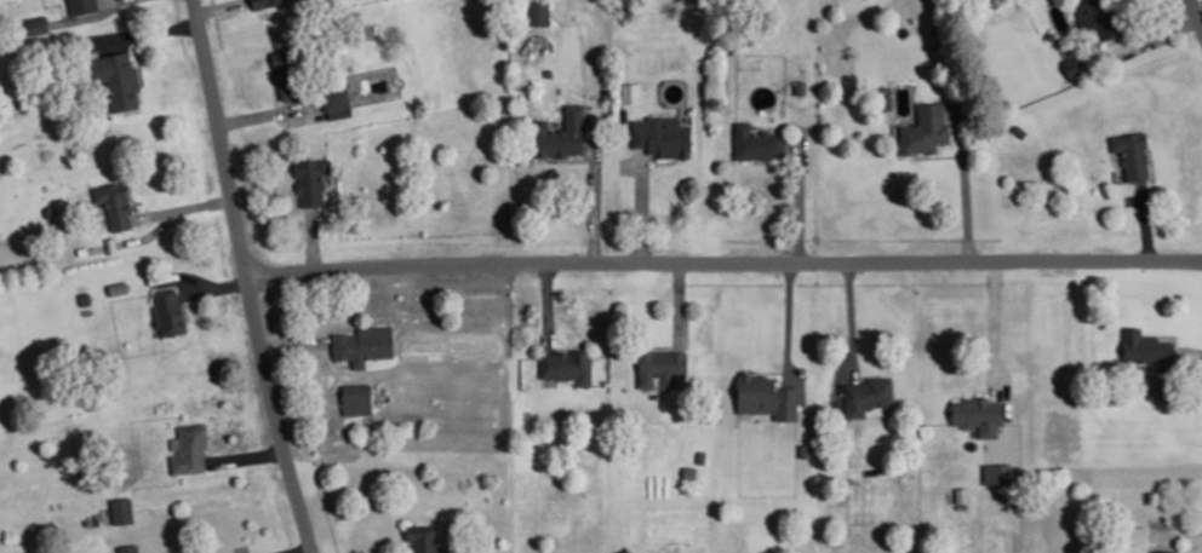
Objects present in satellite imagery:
building: (265, 2)
building: (84, 6)
road: (1197, 10)
building: (539, 13)
building: (1094, 17)
building: (38, 24)
building: (118, 80)
building: (631, 92)
building: (337, 100)
building: (926, 129)
building: (561, 133)
building: (662, 136)
building: (757, 143)
building: (1132, 155)
building: (313, 182)
road: (963, 184)
building: (115, 203)
road: (591, 203)
road: (725, 263)
road: (185, 277)
road: (250, 277)
building: (119, 286)
road: (214, 286)
building: (85, 295)
building: (168, 312)
road: (849, 319)
road: (996, 319)
building: (364, 345)
building: (1146, 347)
road: (1191, 348)
building: (567, 365)
building: (660, 368)
building: (868, 394)
building: (766, 397)
building: (356, 399)
building: (978, 415)
building: (189, 449)
building: (997, 472)
building: (124, 508)
building: (1134, 531)
road: (1177, 531)
building: (423, 537)
building: (130, 548)
building: (1166, 551)

